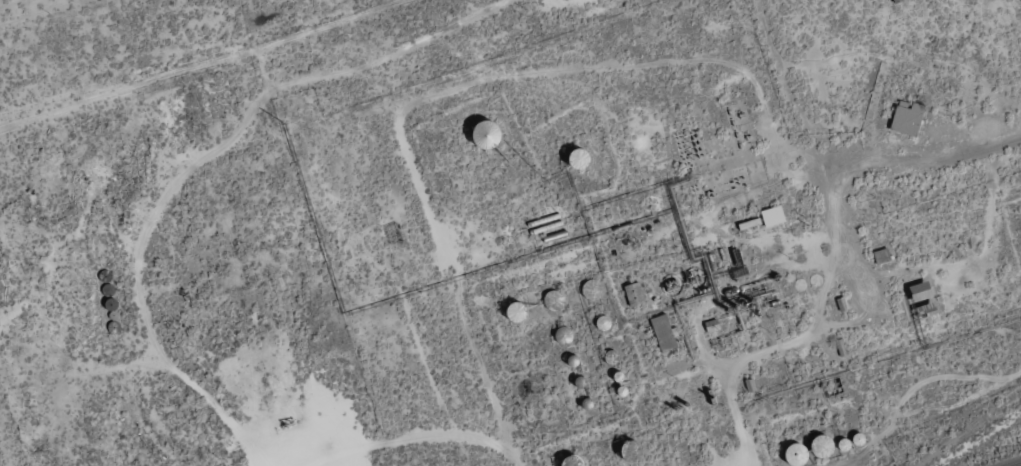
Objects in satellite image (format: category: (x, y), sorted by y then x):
road: (798, 91)
building: (910, 118)
building: (495, 134)
road: (925, 164)
building: (776, 216)
road: (840, 229)
building: (884, 256)
building: (926, 291)
building: (636, 294)
building: (714, 325)
building: (666, 333)
building: (829, 446)
railway: (1020, 465)

